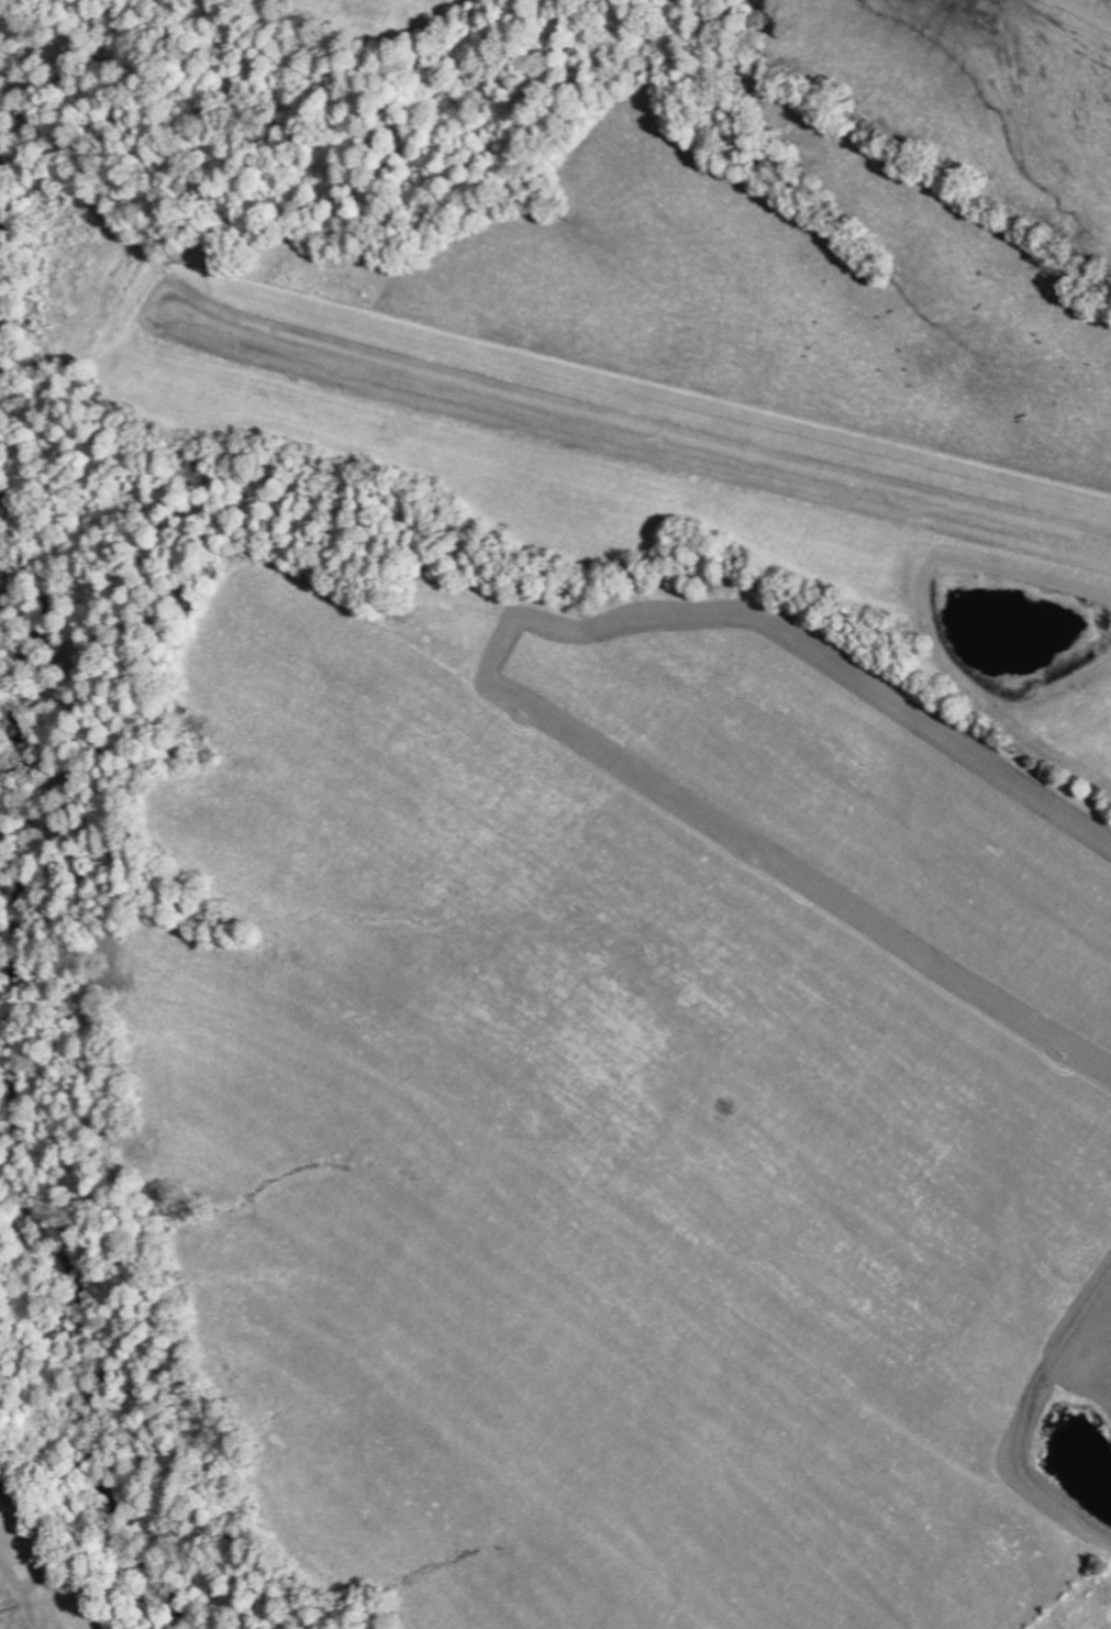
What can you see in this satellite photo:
road: (931, 1574)

